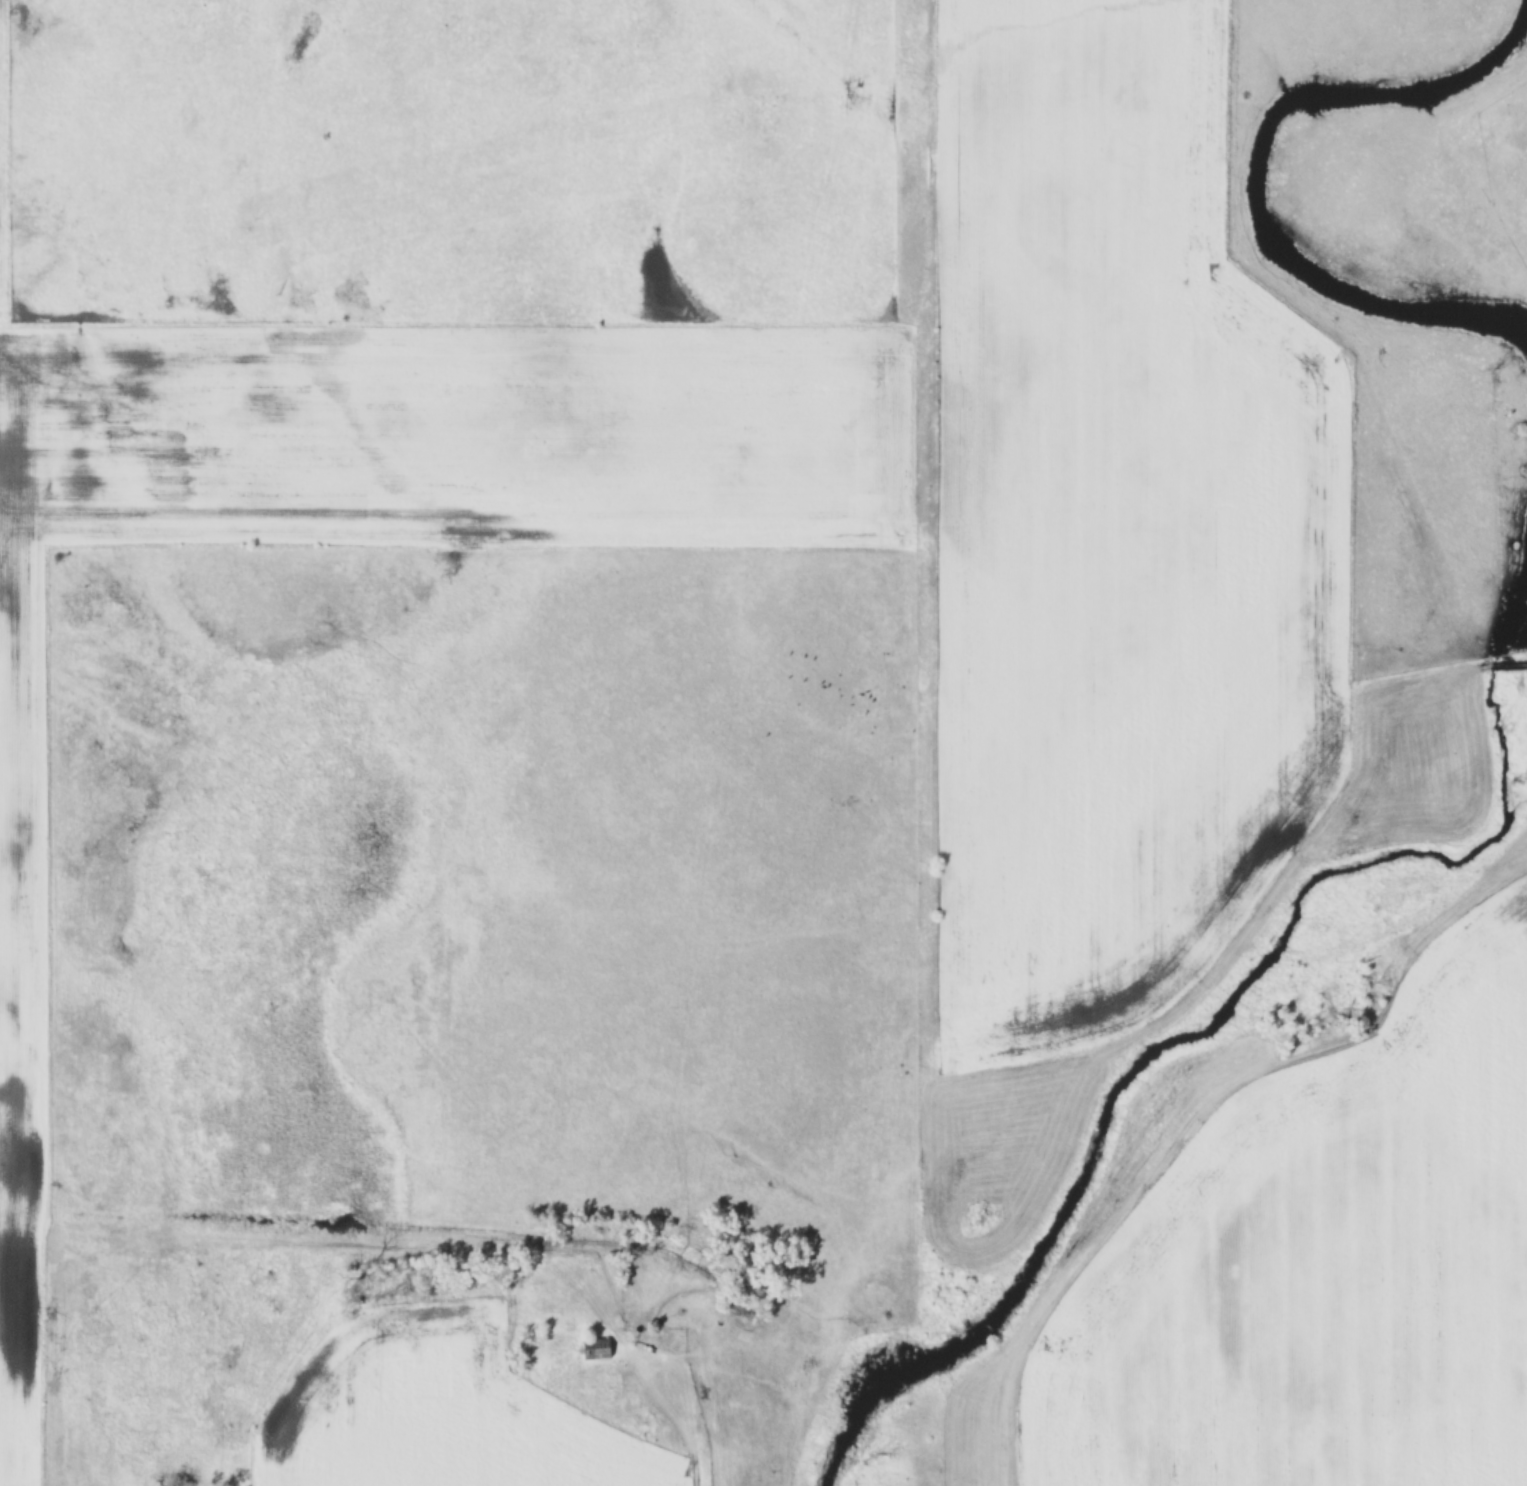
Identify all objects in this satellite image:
building: (592, 1349)
road: (644, 1391)
road: (693, 1460)

